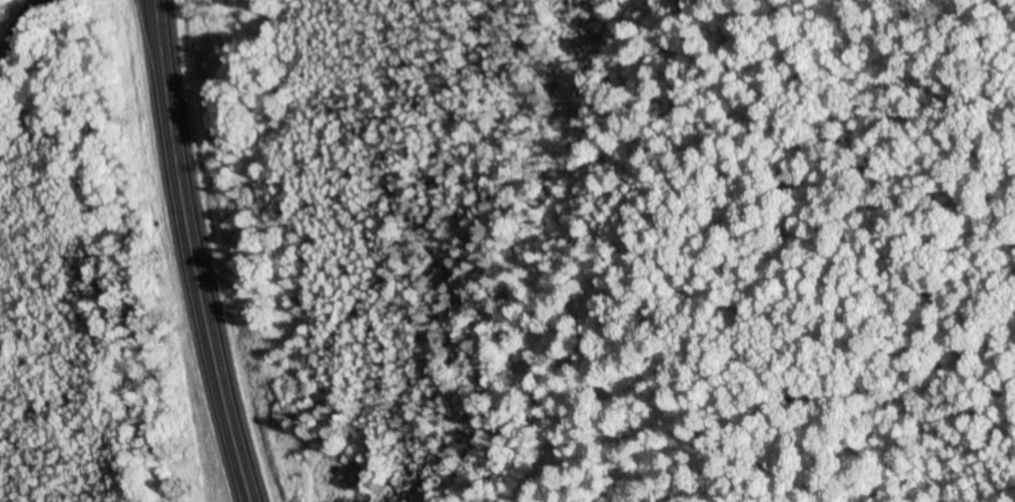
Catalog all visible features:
road: (19, 29)
road: (173, 163)
road: (220, 414)

